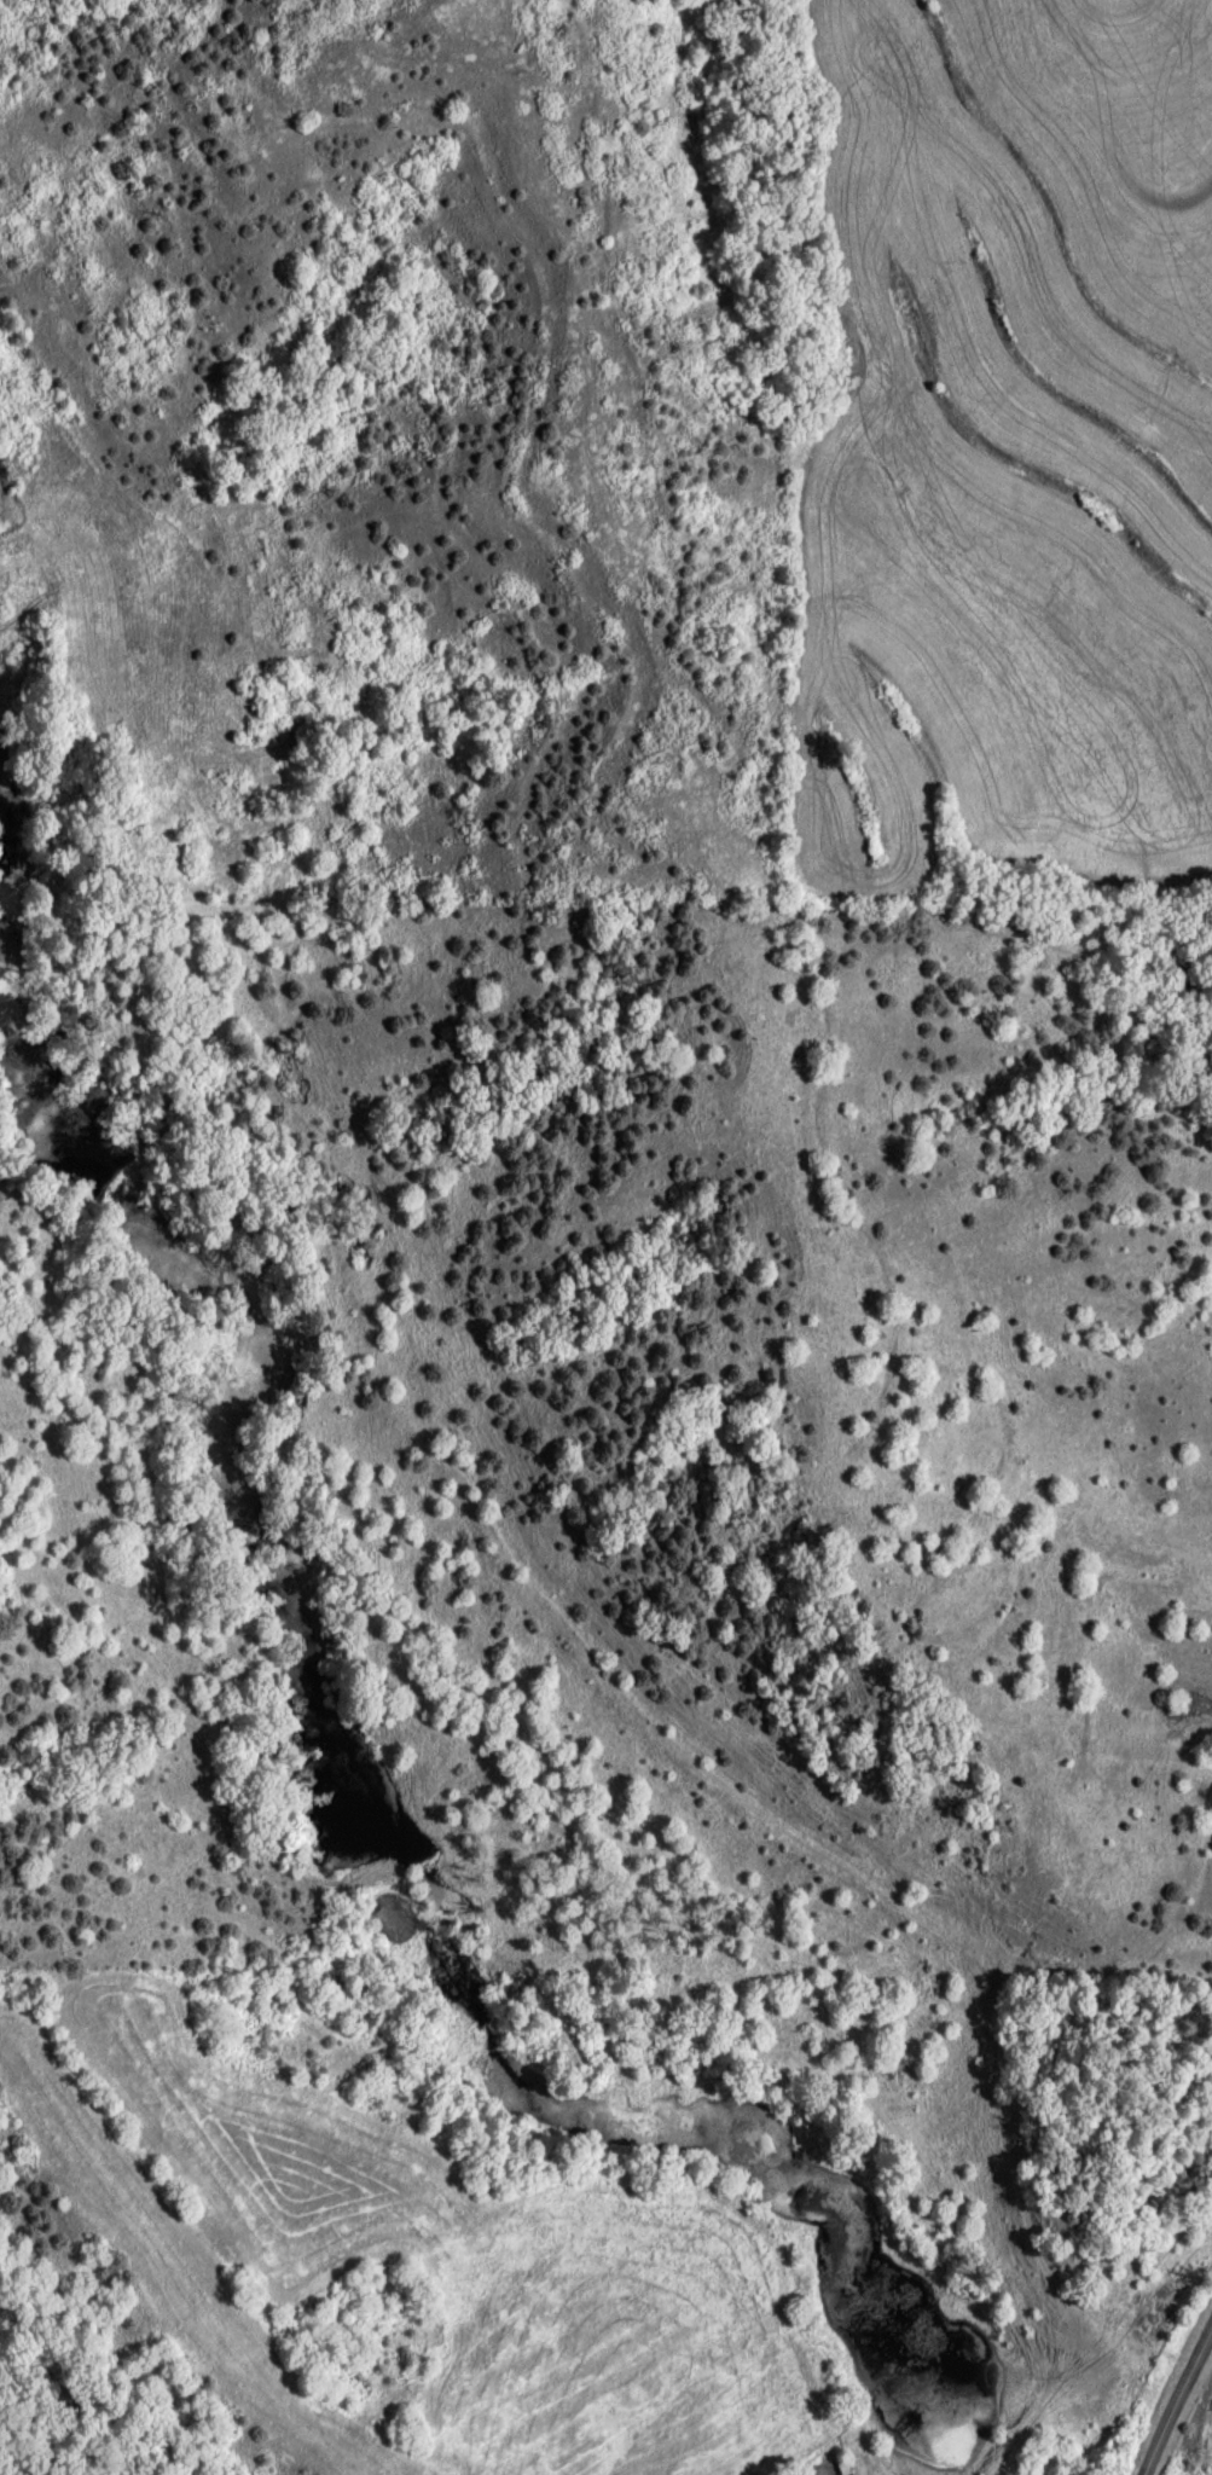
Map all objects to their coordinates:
road: (1173, 2393)

